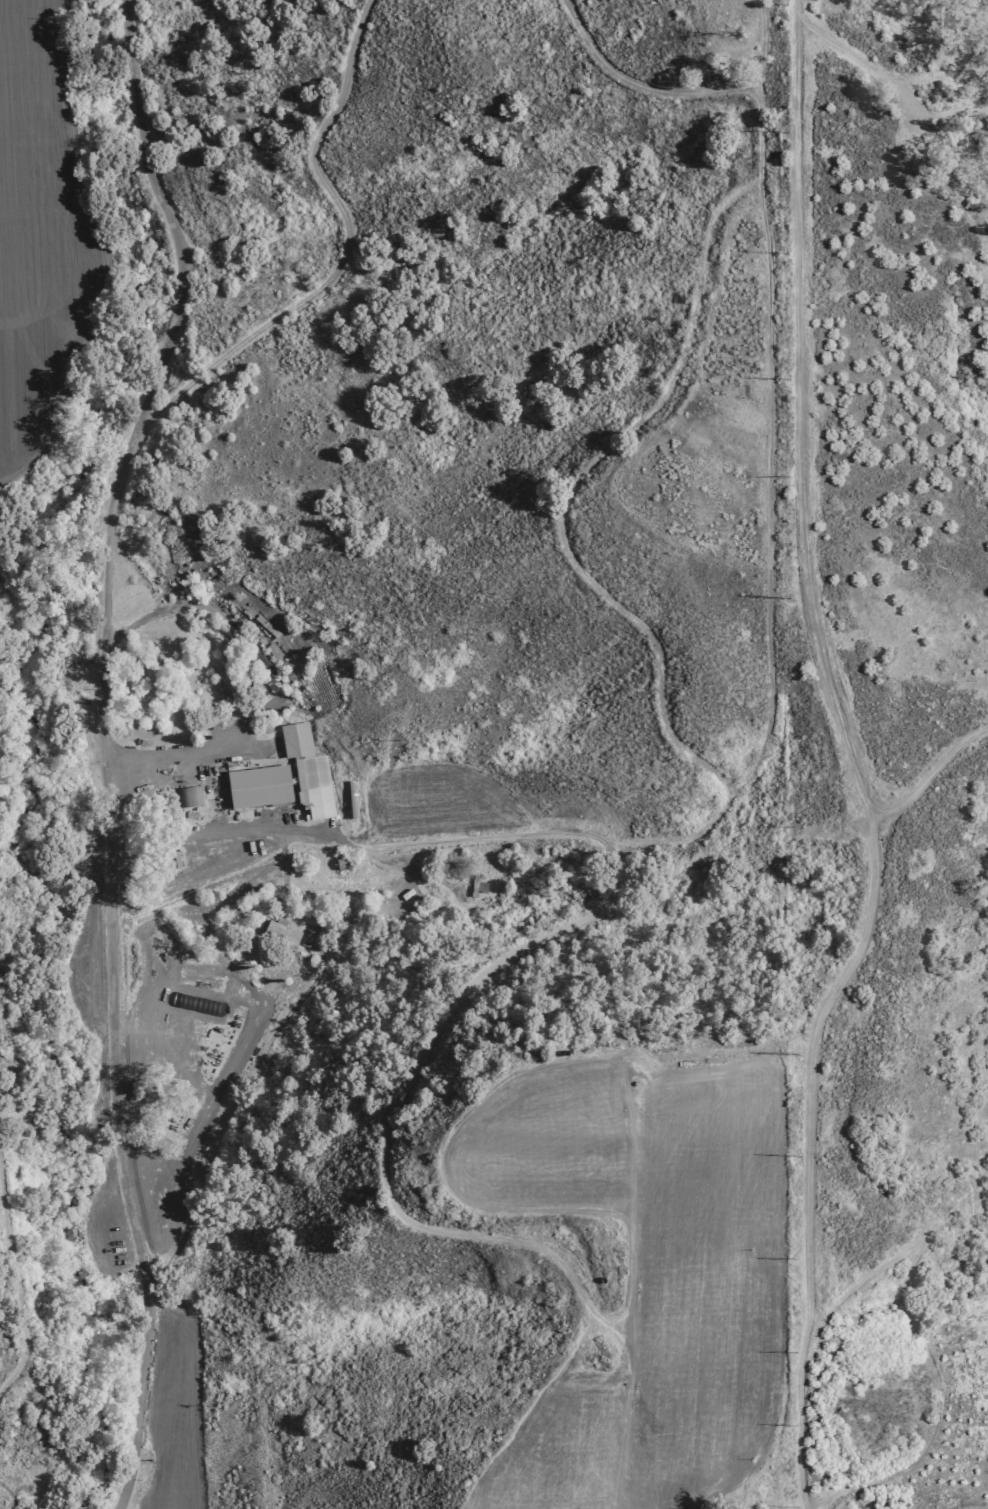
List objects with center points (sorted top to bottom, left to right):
power tower: (788, 7)
road: (683, 92)
power tower: (787, 130)
crop: (42, 233)
power tower: (787, 251)
road: (347, 254)
road: (108, 262)
power tower: (787, 382)
power tower: (787, 474)
road: (802, 490)
power tower: (783, 598)
building: (225, 683)
road: (100, 747)
building: (309, 770)
building: (260, 787)
building: (191, 797)
power tower: (794, 826)
building: (281, 935)
road: (484, 976)
power tower: (796, 1056)
power tower: (795, 1156)
power tower: (795, 1259)
crop: (648, 1275)
power tower: (795, 1352)
crop: (165, 1416)
power tower: (796, 1426)
power tower: (794, 1508)

